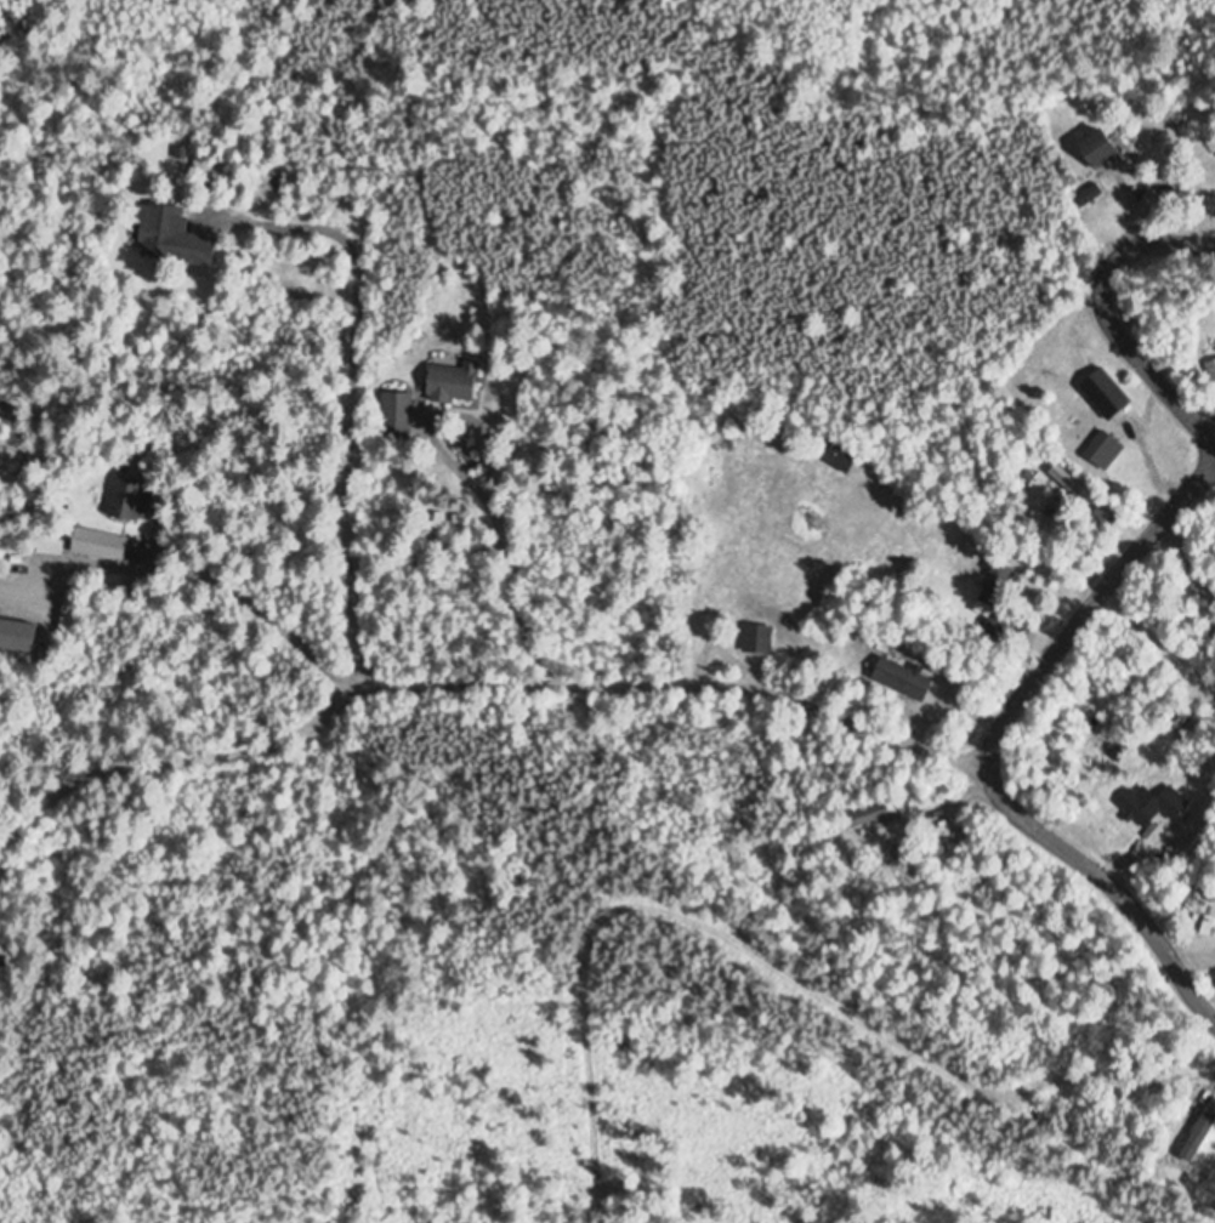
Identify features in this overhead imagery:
building: (1103, 150)
building: (177, 238)
road: (1151, 241)
road: (1143, 342)
building: (1213, 369)
building: (455, 379)
building: (1109, 391)
building: (399, 411)
building: (13, 414)
building: (1109, 450)
building: (842, 456)
building: (1075, 488)
building: (134, 500)
building: (115, 548)
building: (59, 551)
building: (1000, 584)
building: (1004, 627)
building: (762, 642)
road: (674, 676)
building: (907, 682)
road: (995, 751)
building: (1156, 806)
building: (881, 817)
building: (1210, 926)

